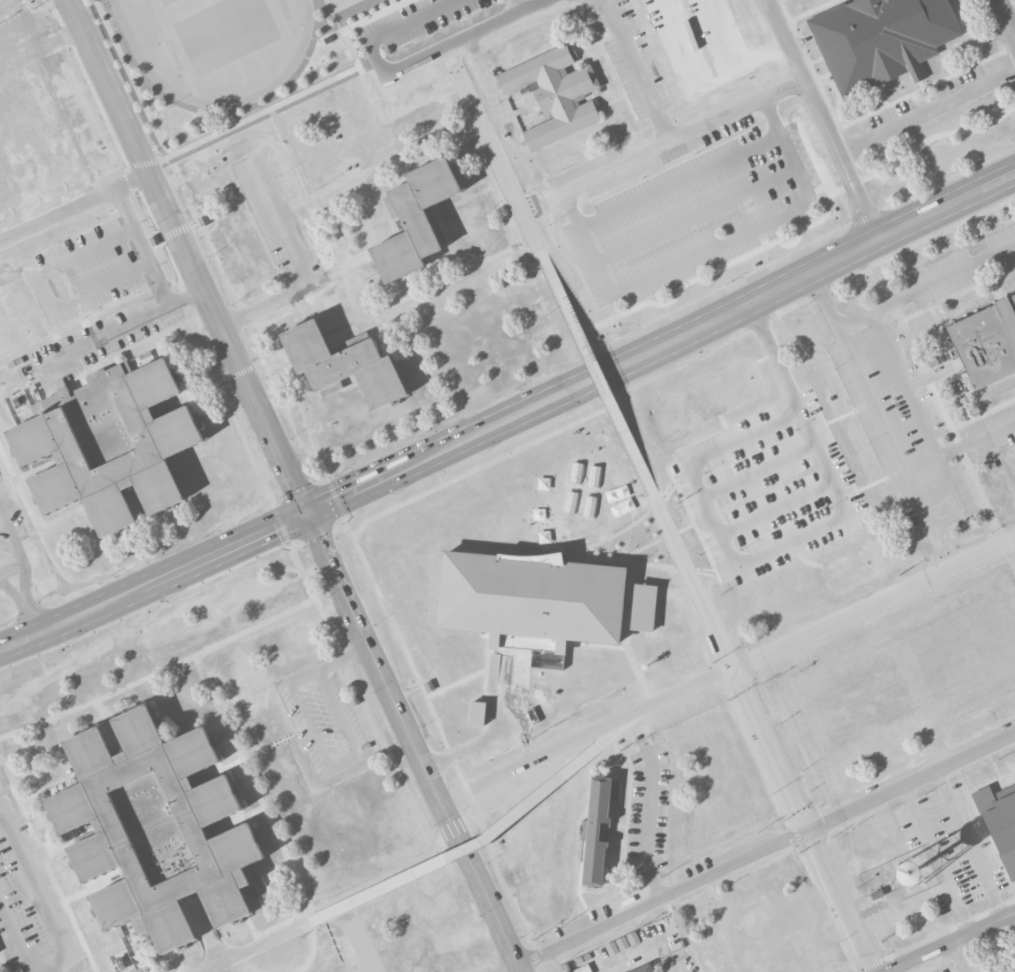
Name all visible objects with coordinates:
road: (844, 1)
road: (516, 6)
road: (812, 10)
road: (788, 17)
road: (1006, 17)
road: (17, 21)
road: (964, 21)
road: (398, 29)
road: (973, 29)
road: (464, 37)
building: (880, 39)
road: (733, 52)
road: (31, 53)
road: (816, 60)
road: (695, 67)
road: (638, 70)
road: (823, 76)
road: (132, 79)
road: (366, 82)
road: (924, 91)
building: (555, 92)
road: (881, 95)
road: (18, 97)
road: (458, 106)
road: (883, 106)
road: (260, 114)
road: (823, 122)
road: (452, 130)
road: (71, 137)
road: (662, 144)
road: (291, 152)
road: (498, 160)
road: (144, 164)
road: (124, 169)
road: (400, 171)
road: (127, 182)
road: (682, 182)
road: (74, 205)
parking lot: (274, 218)
building: (415, 221)
road: (943, 230)
road: (161, 239)
road: (153, 241)
road: (143, 246)
road: (713, 249)
road: (188, 256)
road: (298, 269)
parking lot: (961, 269)
road: (548, 271)
parking lot: (82, 274)
road: (366, 274)
road: (356, 275)
road: (751, 275)
road: (942, 279)
road: (830, 284)
road: (45, 292)
road: (182, 303)
road: (304, 305)
road: (122, 329)
parking lot: (103, 339)
building: (986, 343)
road: (661, 347)
road: (204, 348)
road: (772, 350)
building: (344, 365)
road: (598, 376)
building: (61, 384)
parking lot: (993, 429)
parking lot: (900, 430)
road: (976, 440)
building: (109, 444)
road: (485, 466)
road: (758, 471)
road: (647, 480)
parking lot: (766, 490)
road: (776, 510)
traffic signals: (307, 514)
road: (278, 520)
road: (935, 522)
road: (623, 529)
parking lot: (11, 536)
road: (320, 537)
road: (1014, 542)
road: (654, 543)
road: (638, 562)
road: (740, 565)
road: (11, 566)
road: (24, 573)
road: (370, 573)
road: (153, 582)
road: (664, 592)
building: (532, 599)
road: (628, 600)
road: (146, 607)
building: (644, 608)
road: (33, 619)
road: (627, 650)
road: (730, 664)
road: (741, 665)
road: (486, 668)
road: (159, 673)
road: (456, 683)
road: (502, 695)
parking lot: (857, 707)
building: (478, 714)
parking lot: (324, 718)
road: (109, 728)
road: (316, 741)
road: (414, 743)
road: (475, 745)
road: (218, 769)
road: (256, 788)
road: (468, 809)
parking lot: (647, 810)
road: (647, 819)
road: (237, 821)
building: (998, 824)
building: (155, 828)
road: (446, 828)
building: (596, 830)
road: (487, 837)
road: (973, 846)
parking lot: (951, 849)
road: (758, 855)
road: (939, 862)
road: (47, 867)
water tower: (913, 873)
road: (497, 874)
road: (95, 888)
road: (36, 892)
road: (839, 902)
parking lot: (30, 903)
road: (298, 916)
road: (206, 929)
road: (16, 938)
building: (622, 943)
road: (958, 944)
road: (256, 946)
road: (959, 959)
road: (177, 961)
parking lot: (680, 962)
road: (3, 963)
road: (673, 965)
building: (583, 969)
building: (645, 969)
parking lot: (946, 971)

